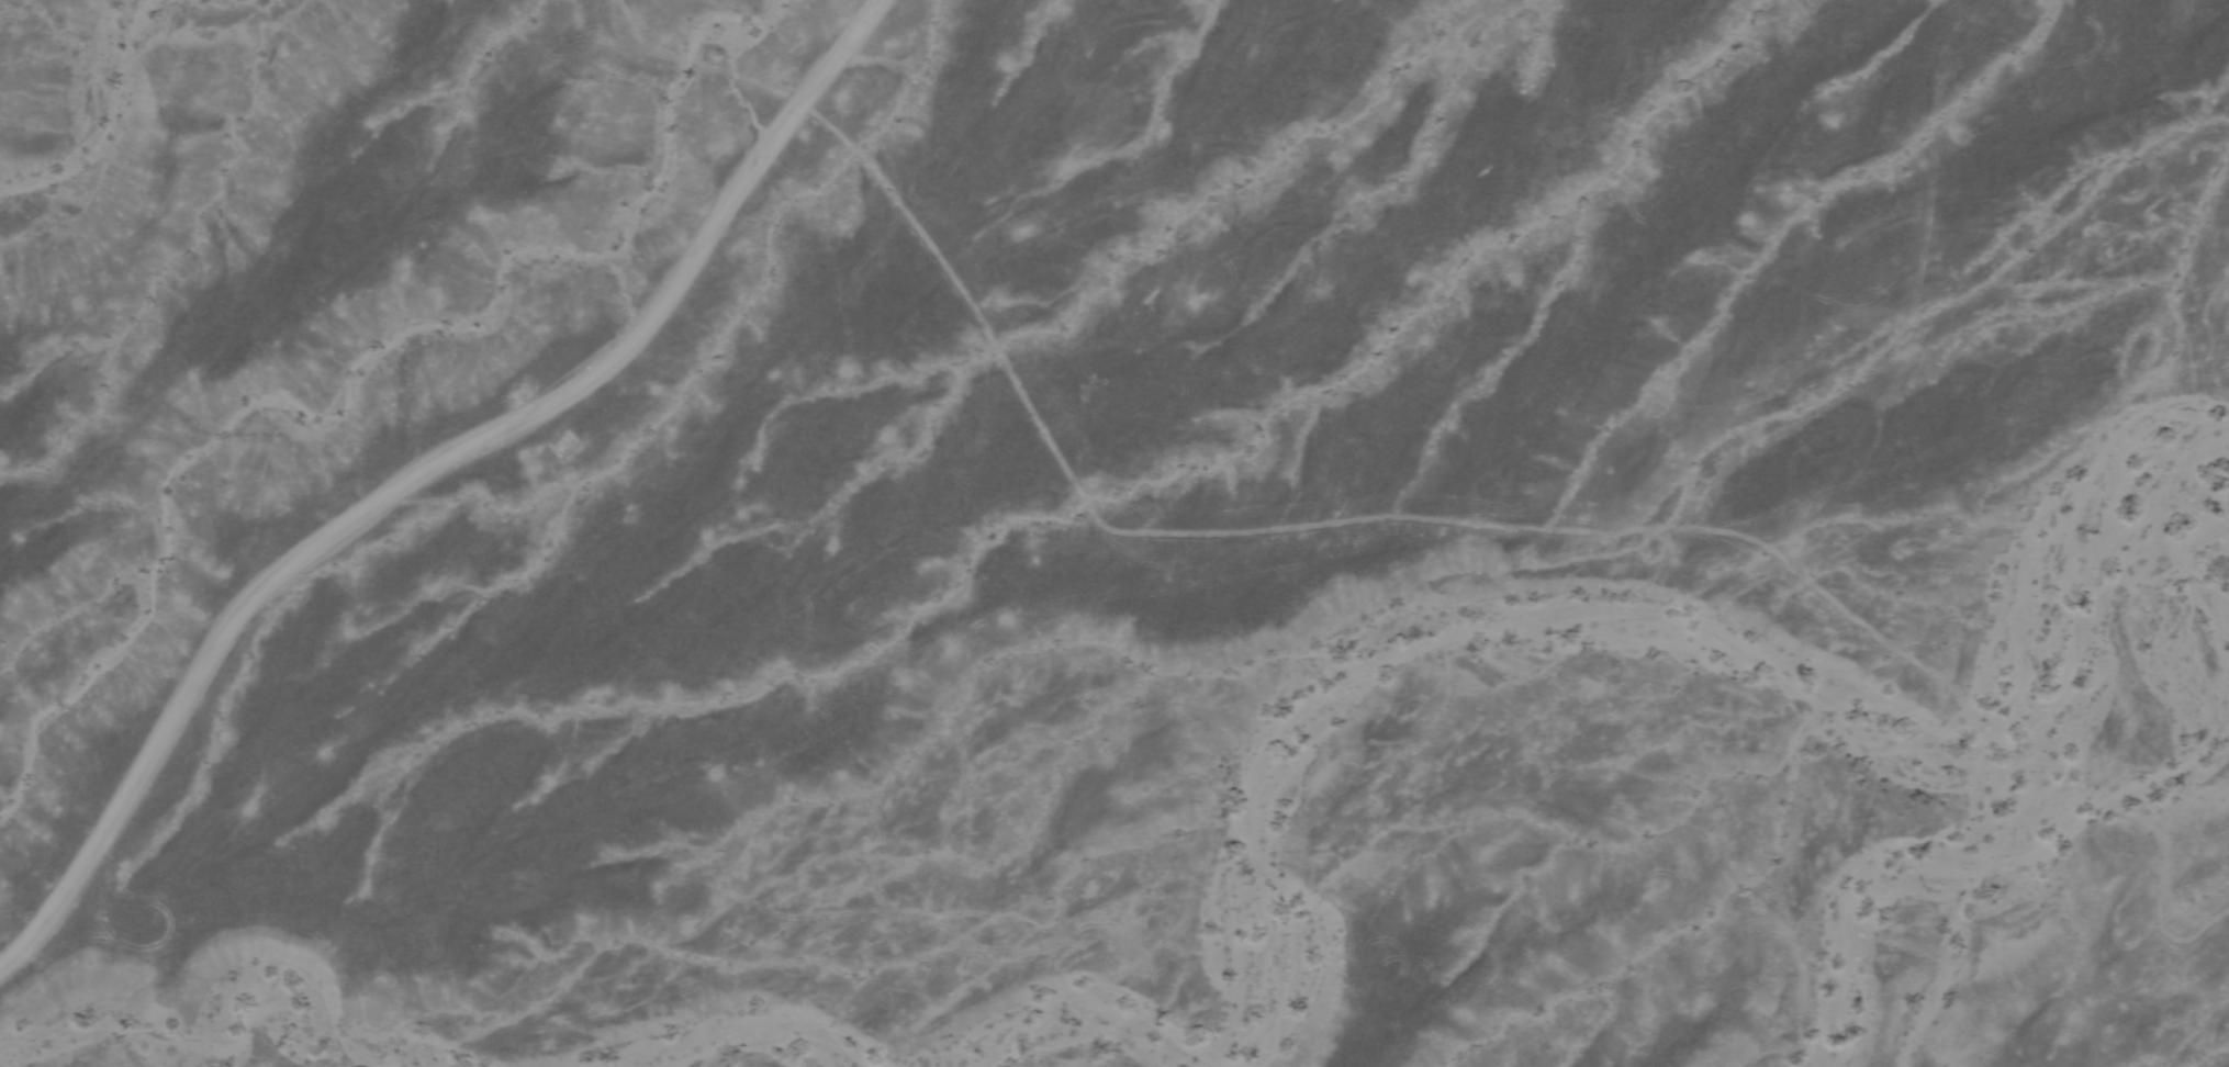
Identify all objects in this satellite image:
road: (871, 169)
road: (422, 467)
road: (1601, 530)

